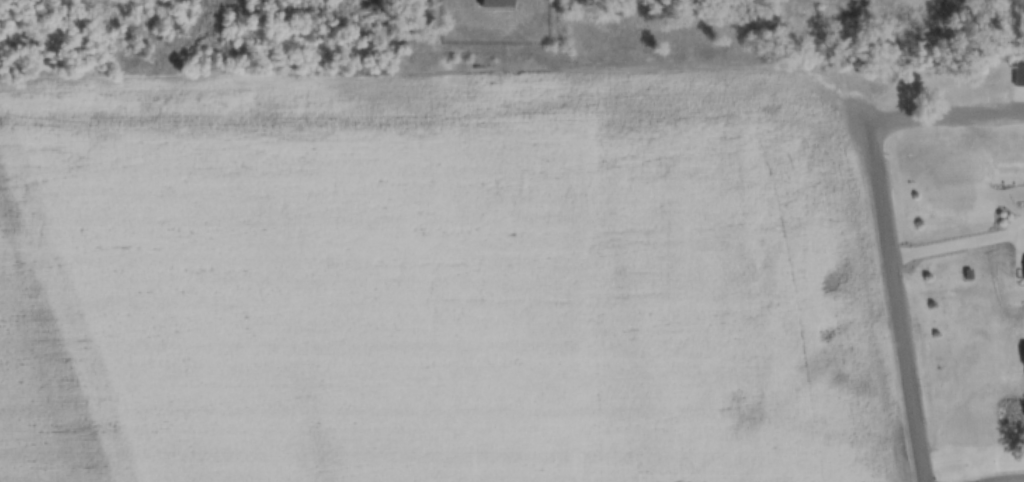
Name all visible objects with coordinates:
building: (490, 3)
building: (1020, 76)
building: (1023, 269)
road: (897, 301)
building: (1022, 354)

